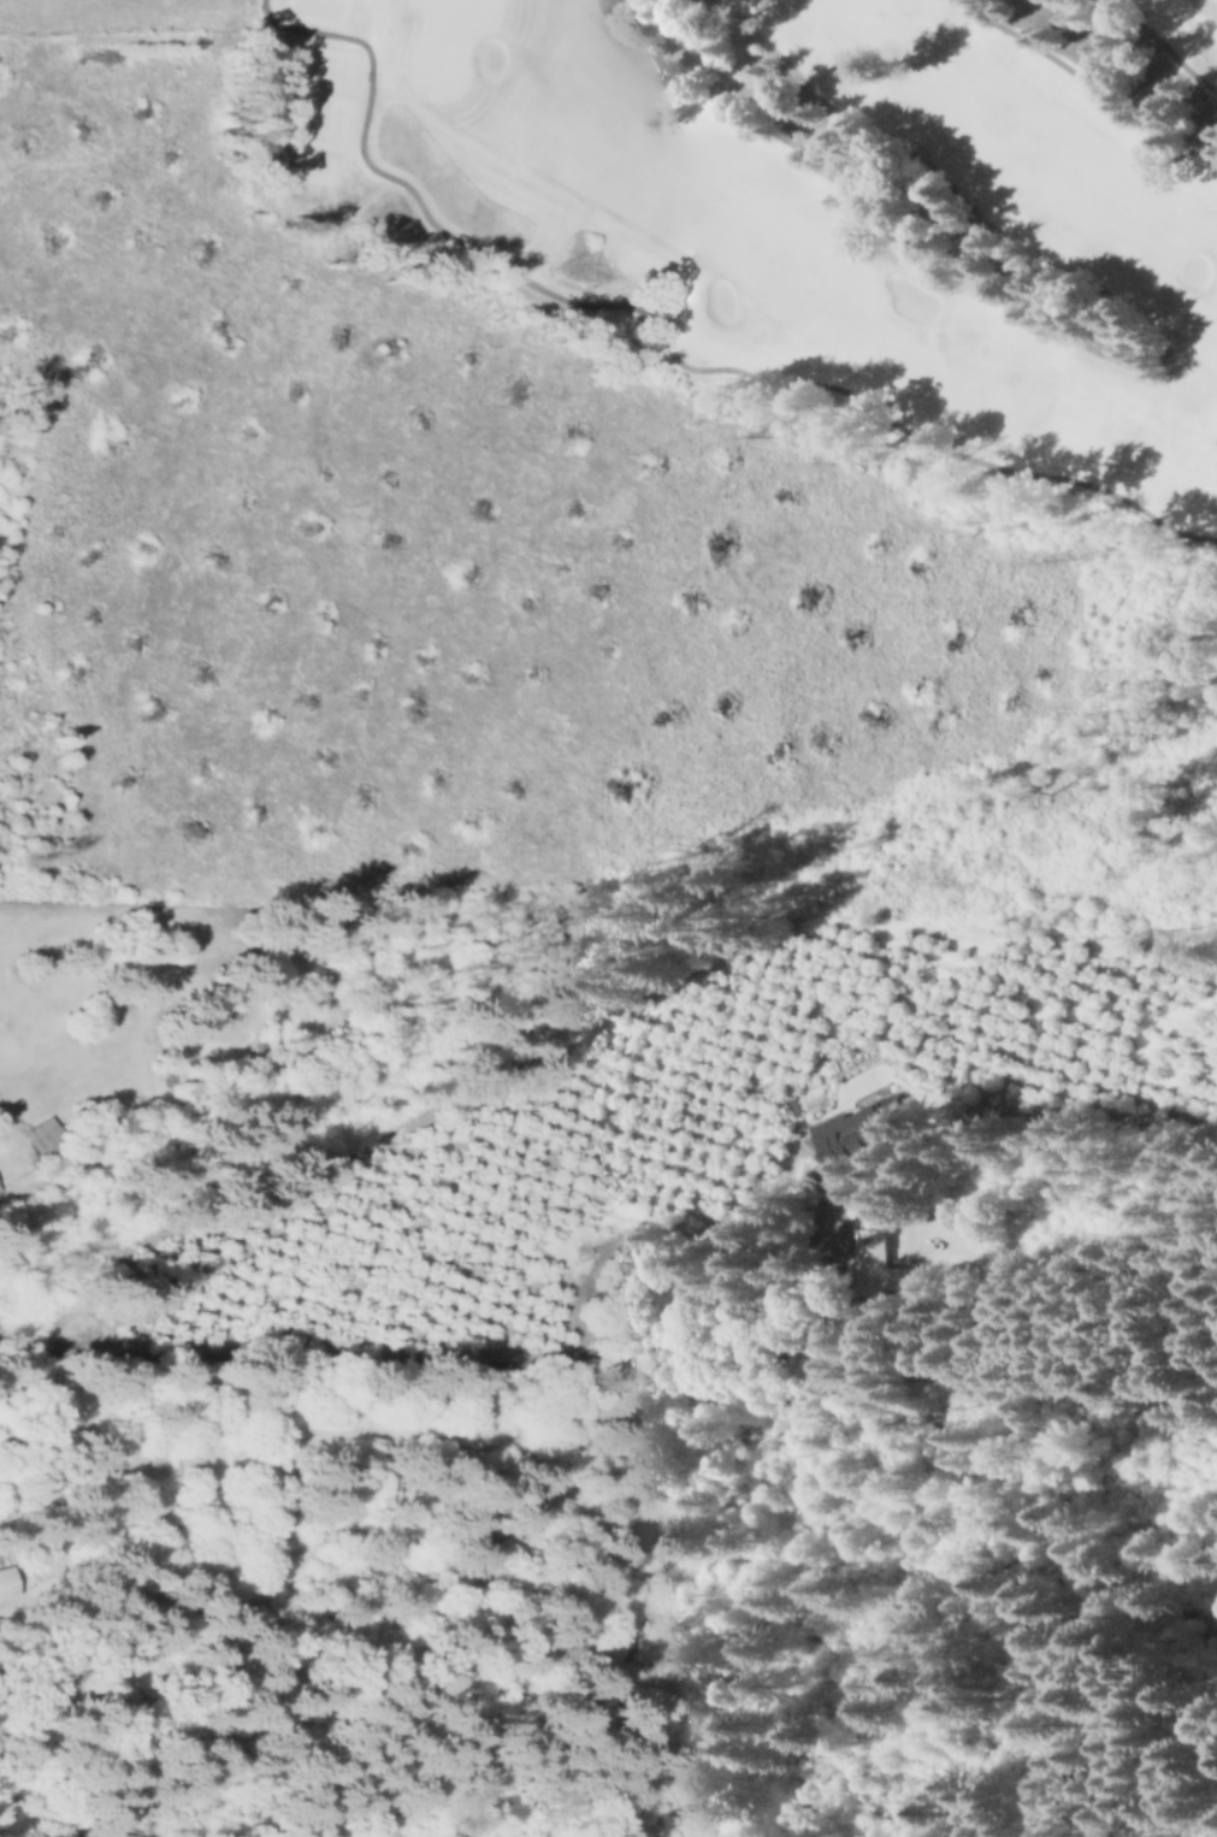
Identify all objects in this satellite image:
road: (1163, 46)
road: (1088, 83)
park: (793, 236)
road: (663, 338)
building: (863, 1132)
building: (41, 1133)
building: (892, 1268)
road: (430, 1361)
building: (10, 1584)

